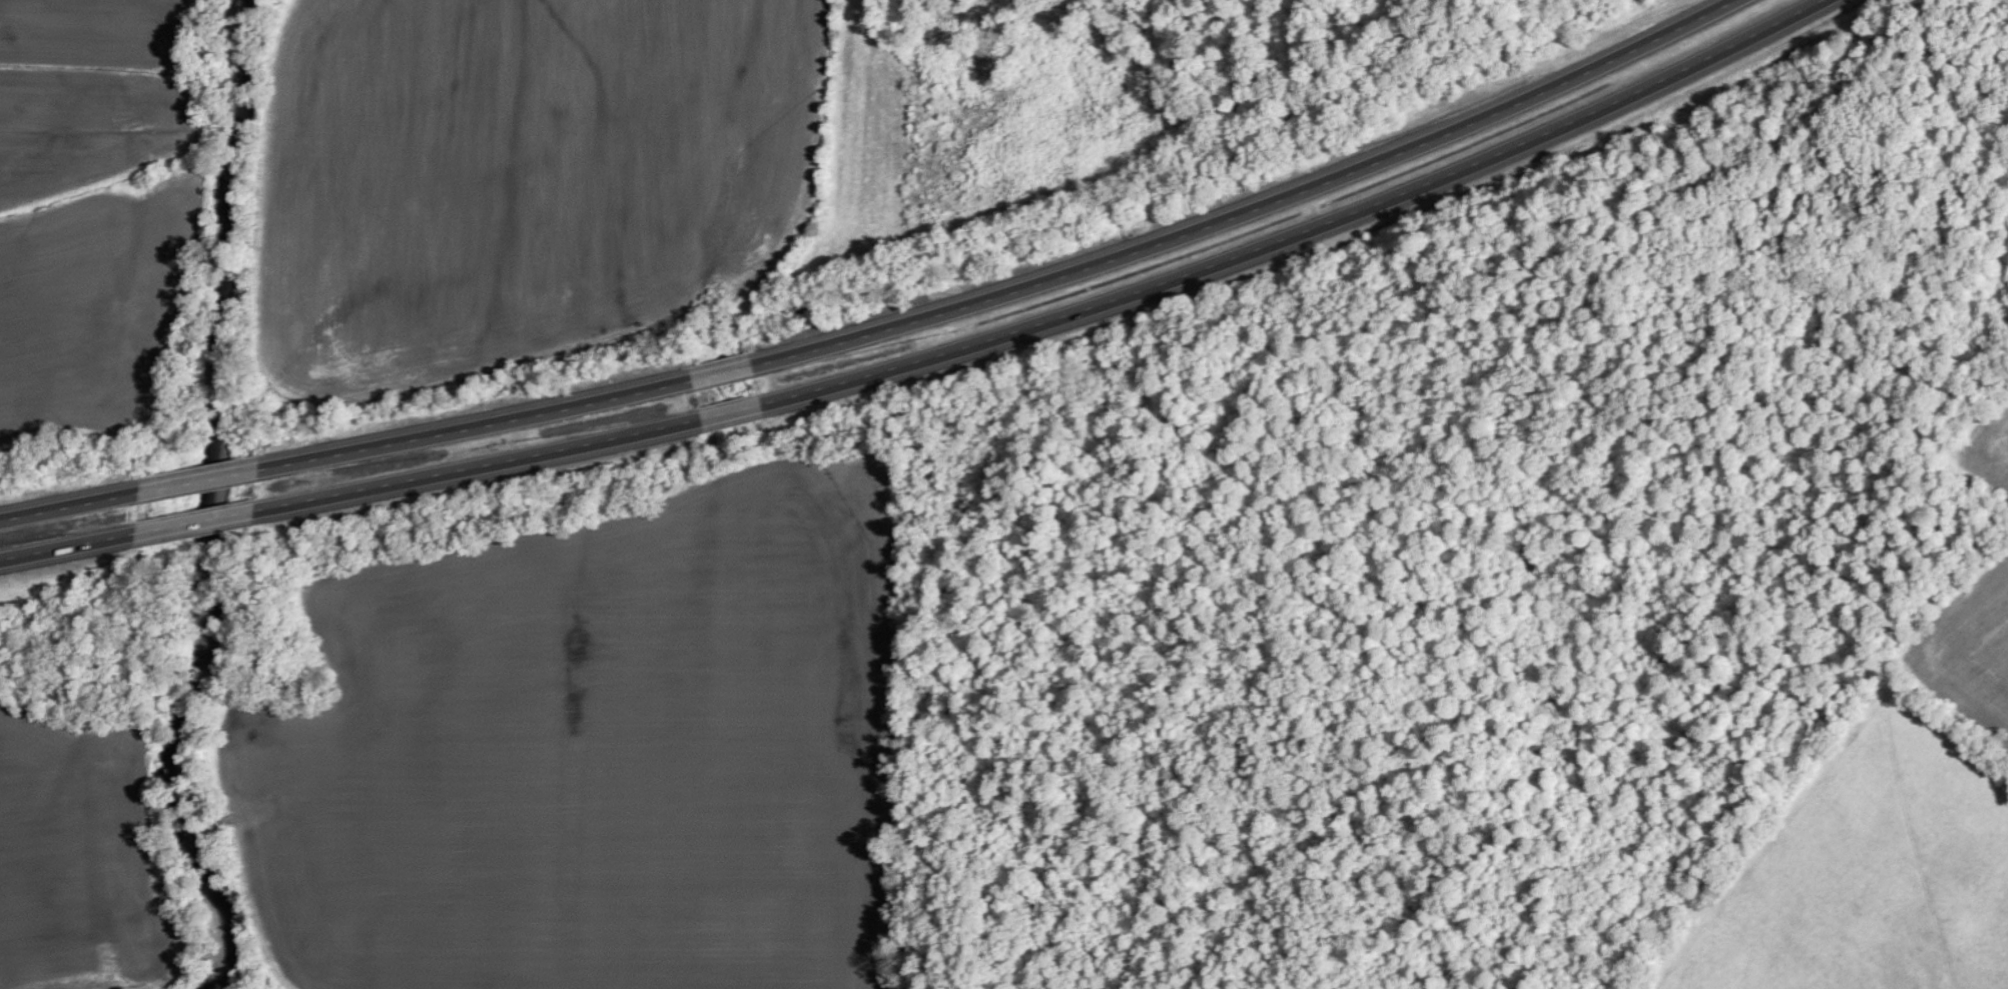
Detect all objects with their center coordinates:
road: (1247, 206)
road: (1305, 234)
road: (721, 368)
road: (733, 413)
road: (475, 422)
road: (480, 468)
road: (200, 477)
road: (70, 502)
road: (198, 524)
road: (69, 549)

